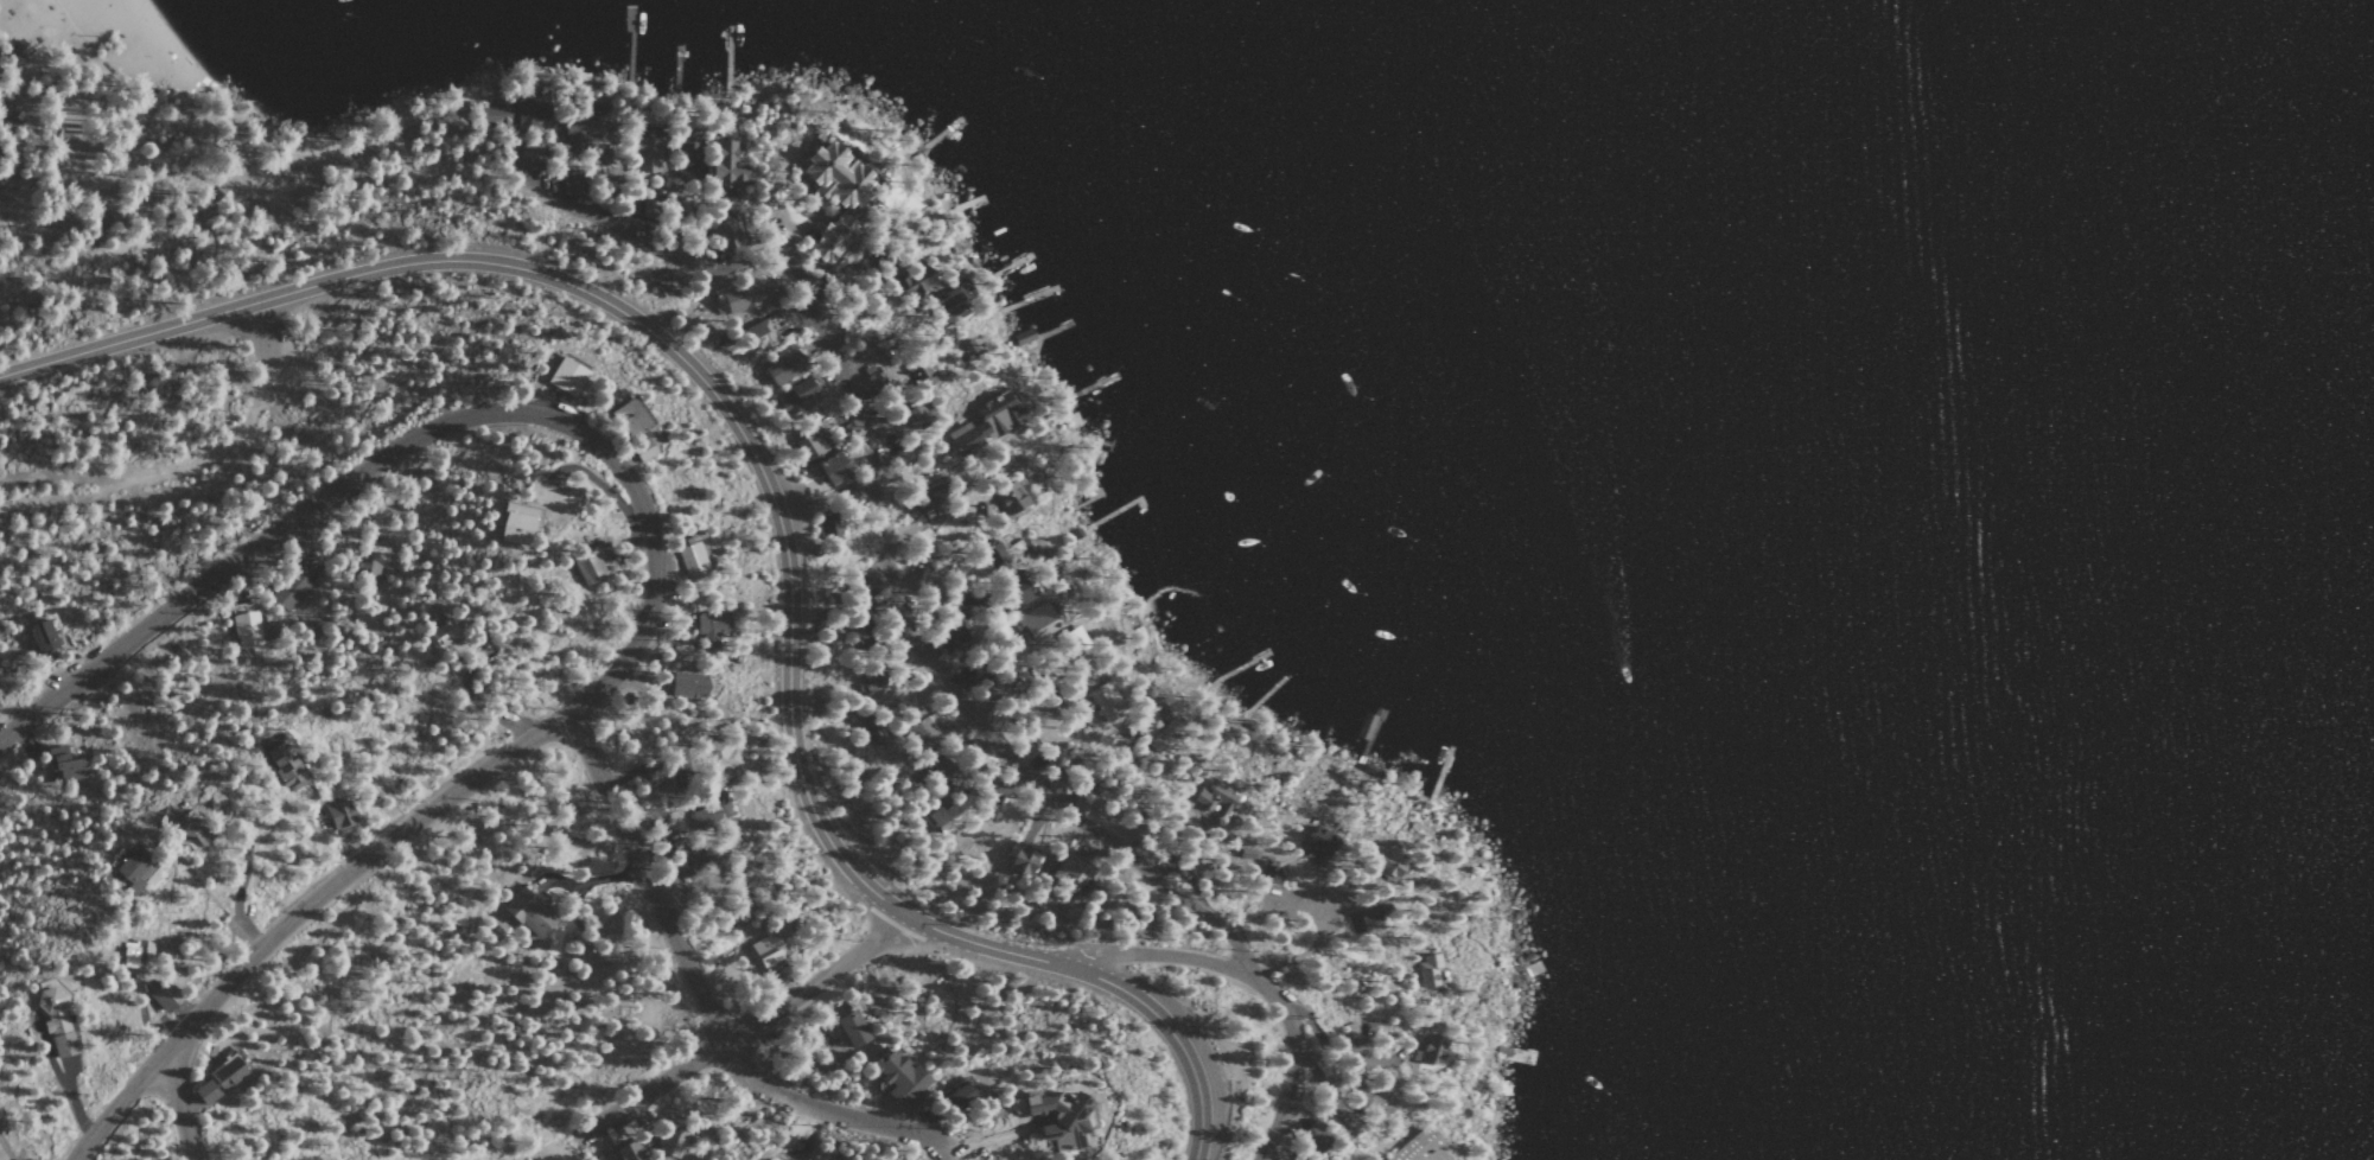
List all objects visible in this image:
pier: (629, 43)
building: (17, 51)
pier: (727, 56)
pier: (675, 69)
building: (527, 108)
building: (491, 116)
building: (579, 132)
pier: (940, 135)
road: (5, 146)
road: (255, 146)
building: (643, 155)
building: (527, 158)
building: (687, 158)
building: (723, 168)
building: (833, 176)
building: (567, 186)
building: (219, 196)
pier: (969, 206)
building: (726, 237)
building: (829, 240)
road: (648, 242)
pier: (1008, 267)
building: (911, 280)
building: (740, 294)
pier: (1027, 300)
building: (949, 301)
road: (253, 334)
building: (758, 334)
pier: (1048, 334)
building: (782, 364)
building: (922, 368)
building: (565, 376)
building: (870, 382)
pier: (1088, 388)
building: (794, 395)
building: (1001, 410)
building: (629, 416)
building: (914, 416)
road: (413, 435)
building: (809, 444)
building: (639, 448)
pier: (1091, 452)
road: (227, 455)
building: (829, 467)
road: (127, 479)
road: (822, 495)
road: (770, 497)
building: (1008, 497)
pier: (1087, 498)
building: (928, 506)
pier: (1118, 509)
building: (826, 525)
building: (992, 553)
building: (692, 556)
building: (368, 562)
building: (586, 567)
building: (288, 585)
building: (1012, 591)
building: (965, 605)
building: (1035, 622)
building: (243, 624)
building: (709, 630)
building: (440, 633)
building: (947, 633)
building: (39, 635)
building: (1073, 645)
pier: (1239, 668)
road: (933, 670)
building: (867, 681)
building: (685, 684)
pier: (1266, 694)
building: (1103, 703)
building: (871, 729)
building: (1151, 731)
building: (921, 735)
pier: (1368, 738)
building: (717, 754)
building: (62, 765)
building: (285, 765)
building: (936, 770)
pier: (1439, 776)
building: (1214, 801)
building: (954, 811)
building: (336, 814)
building: (179, 826)
building: (1320, 843)
building: (1018, 860)
building: (687, 862)
building: (1383, 862)
building: (131, 869)
building: (1068, 872)
building: (1268, 874)
road: (299, 910)
building: (524, 912)
building: (1362, 918)
building: (771, 945)
road: (1164, 955)
pier: (1536, 971)
building: (1428, 973)
road: (704, 1003)
building: (52, 1021)
road: (750, 1025)
building: (851, 1026)
building: (1428, 1050)
pier: (1511, 1054)
road: (1291, 1065)
building: (222, 1073)
building: (896, 1077)
building: (201, 1092)
building: (957, 1096)
road: (177, 1103)
building: (1054, 1120)
building: (1312, 1137)
building: (668, 1141)
road: (564, 1143)
building: (1419, 1147)
building: (624, 1152)

